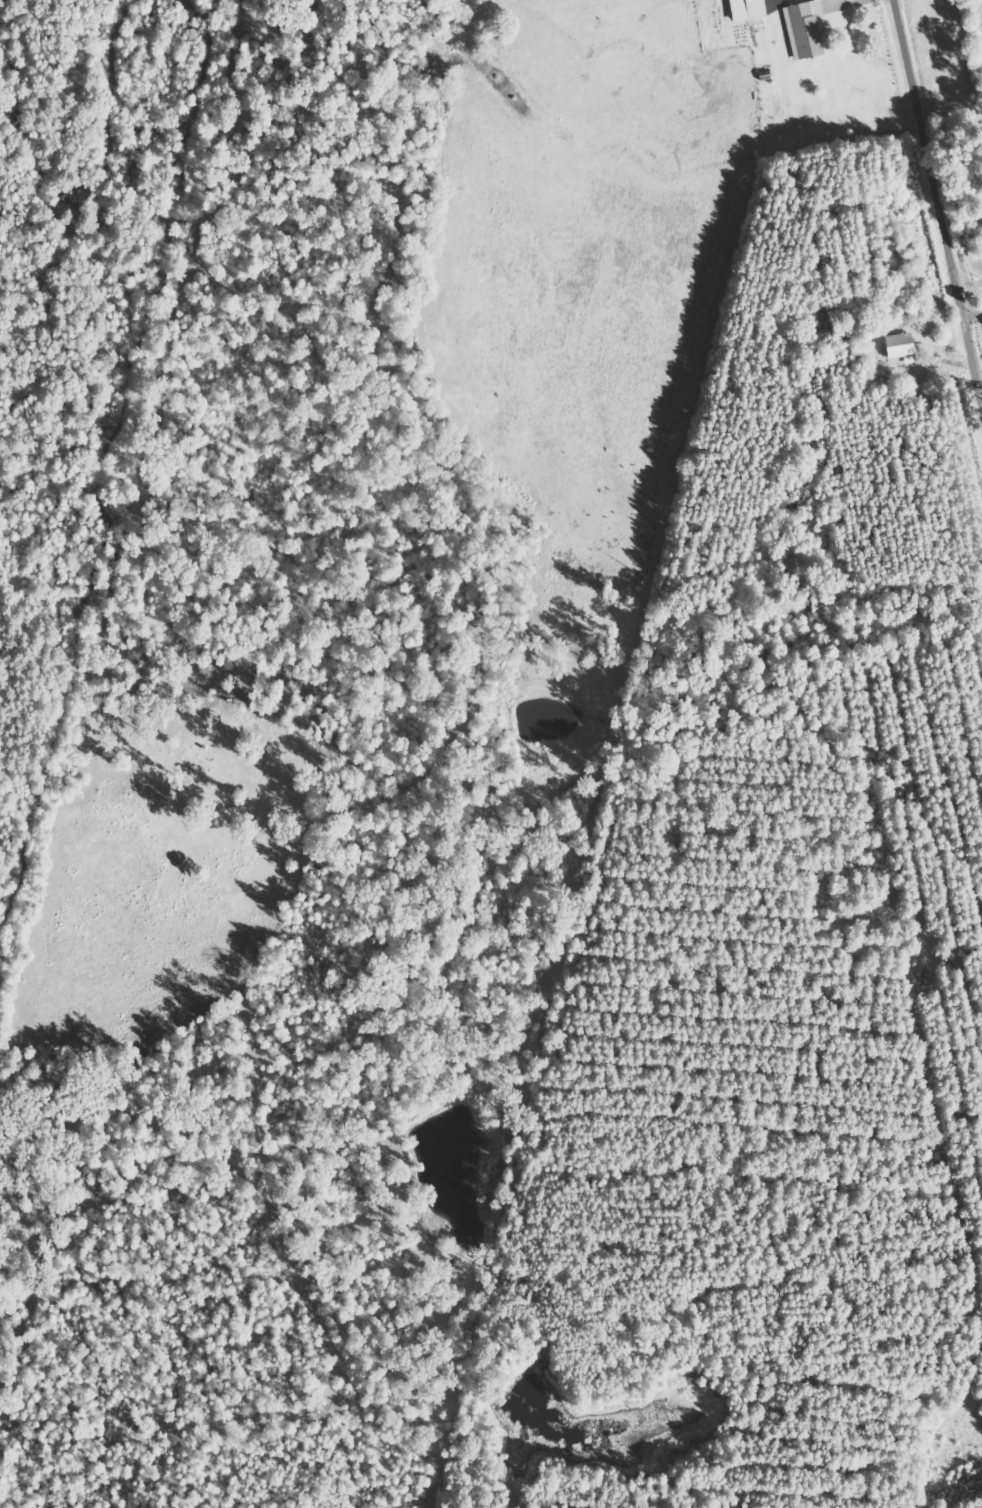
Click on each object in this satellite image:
building: (749, 9)
building: (807, 29)
road: (932, 232)
building: (905, 347)

